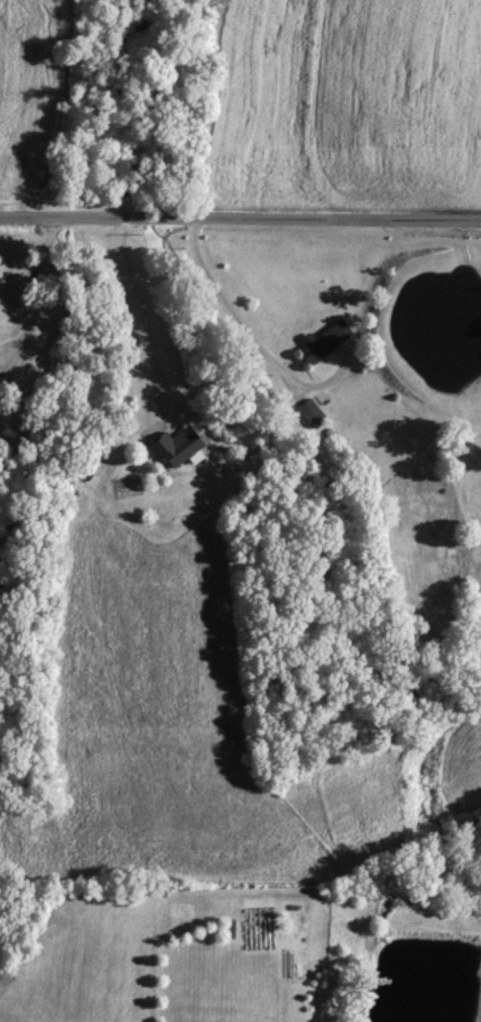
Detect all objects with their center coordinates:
road: (240, 221)
road: (40, 292)
road: (141, 319)
building: (321, 340)
road: (250, 348)
building: (309, 411)
building: (175, 446)

